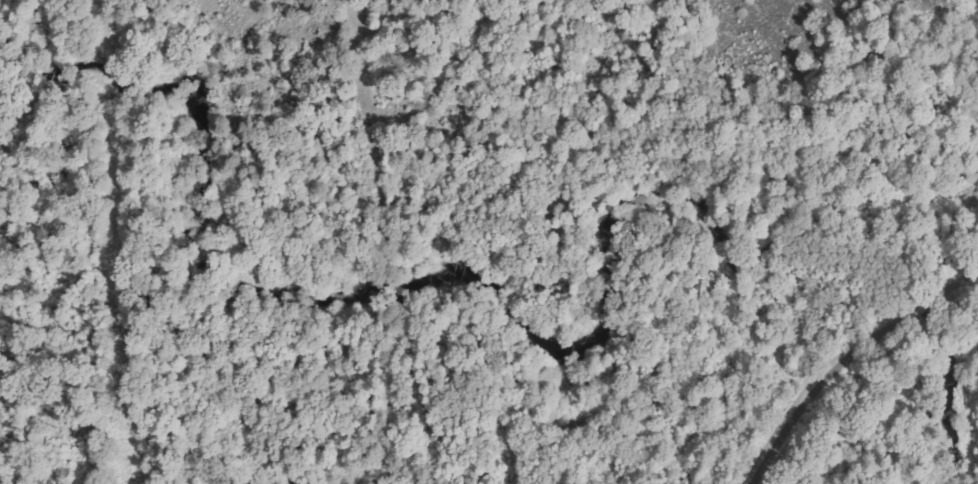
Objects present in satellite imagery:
road: (850, 359)

